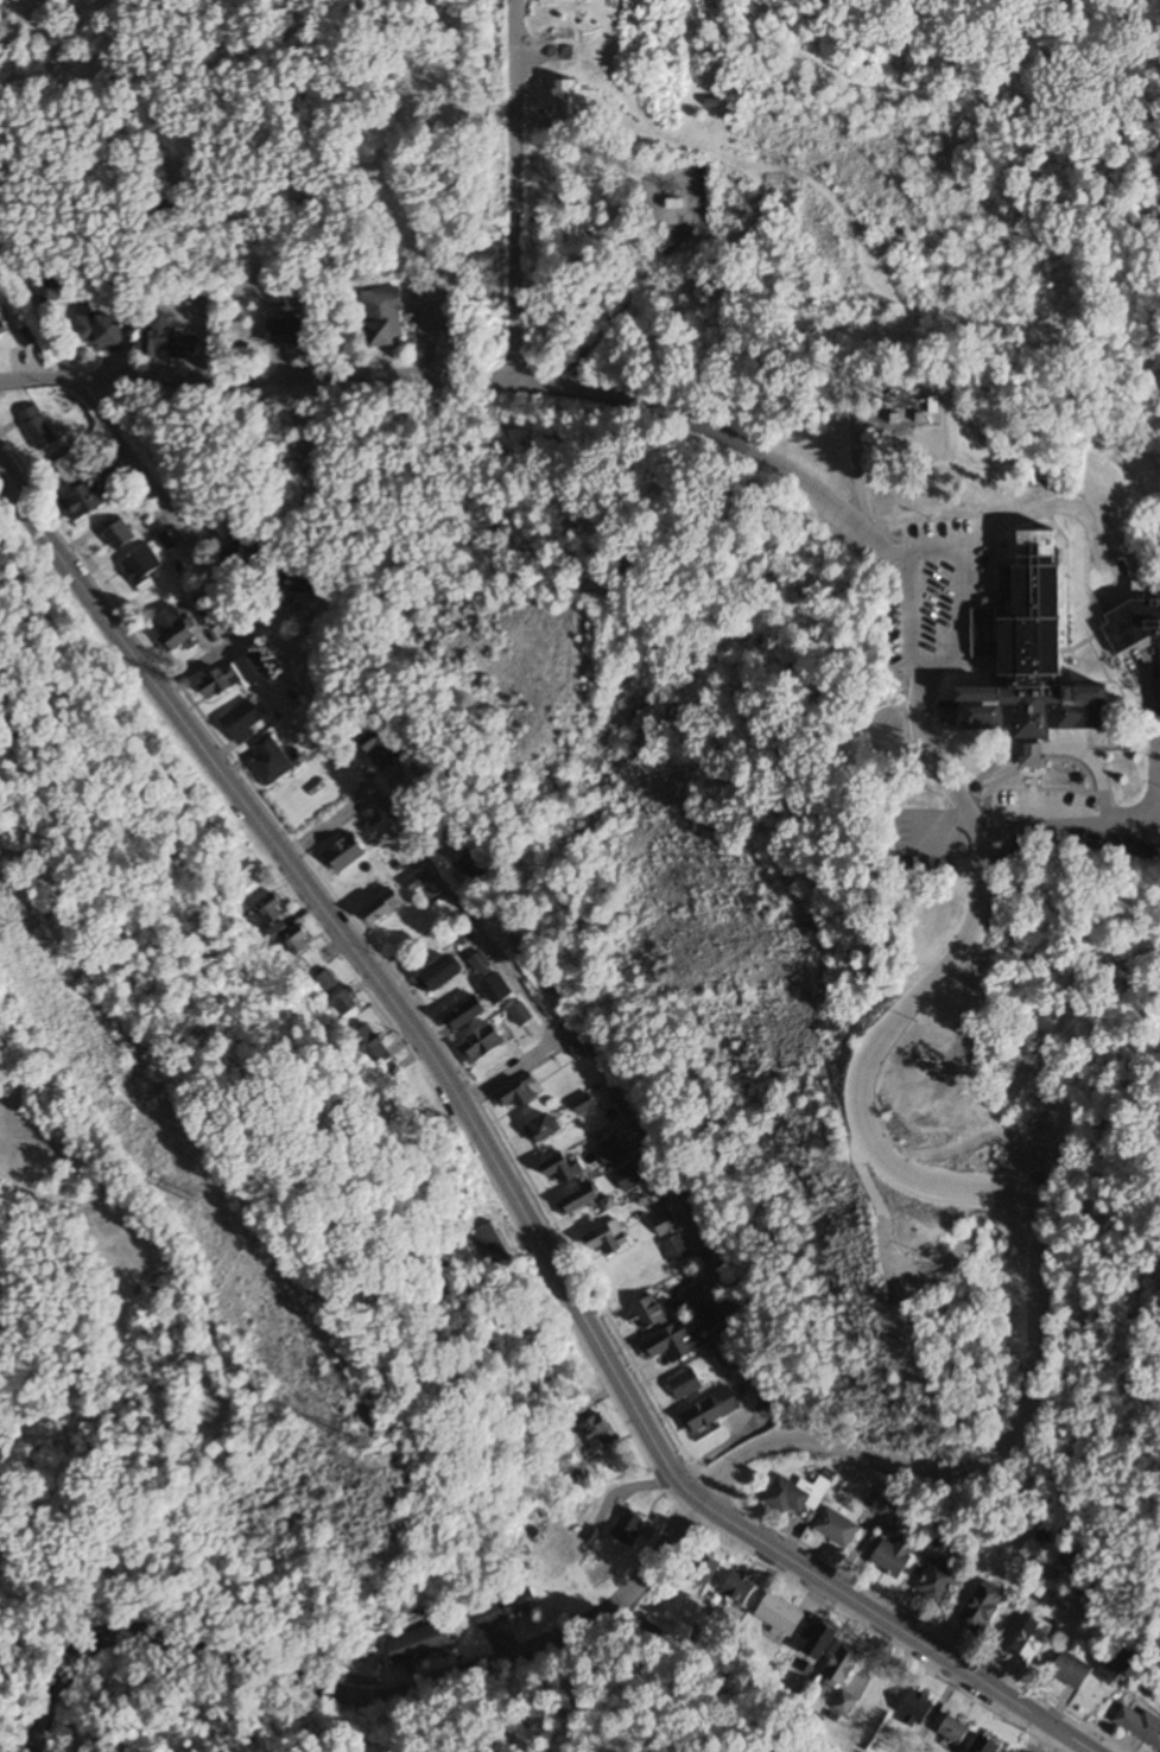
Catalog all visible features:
building: (564, 97)
road: (514, 190)
building: (46, 291)
building: (388, 301)
road: (621, 310)
building: (2, 329)
building: (97, 329)
building: (286, 331)
building: (157, 334)
building: (382, 334)
building: (188, 347)
road: (481, 379)
building: (37, 429)
road: (861, 457)
building: (72, 469)
building: (83, 502)
building: (120, 535)
road: (197, 544)
building: (246, 548)
building: (141, 565)
building: (299, 580)
building: (1135, 621)
building: (171, 628)
building: (1038, 655)
building: (235, 677)
road: (920, 705)
building: (243, 722)
building: (379, 748)
road: (1039, 749)
building: (270, 761)
road: (1137, 817)
building: (934, 851)
building: (346, 853)
building: (417, 883)
building: (239, 904)
building: (385, 908)
building: (270, 920)
power tower: (14, 922)
building: (298, 941)
building: (480, 963)
building: (440, 973)
building: (328, 980)
building: (496, 989)
building: (344, 1004)
building: (468, 1014)
building: (521, 1015)
building: (482, 1045)
building: (373, 1048)
road: (505, 1065)
road: (596, 1067)
building: (392, 1072)
building: (519, 1092)
building: (583, 1104)
building: (543, 1129)
road: (499, 1159)
building: (563, 1168)
building: (627, 1179)
power tower: (202, 1199)
building: (582, 1200)
building: (664, 1224)
road: (1039, 1224)
building: (609, 1239)
building: (492, 1249)
building: (677, 1249)
park: (113, 1264)
building: (696, 1299)
building: (648, 1315)
building: (711, 1318)
building: (673, 1344)
building: (729, 1360)
building: (685, 1385)
building: (709, 1414)
building: (598, 1433)
power tower: (378, 1448)
building: (795, 1494)
building: (877, 1499)
building: (630, 1528)
building: (837, 1528)
building: (894, 1557)
building: (704, 1568)
building: (936, 1585)
building: (740, 1589)
building: (507, 1608)
building: (983, 1610)
building: (780, 1615)
building: (823, 1640)
building: (419, 1643)
building: (1032, 1643)
building: (844, 1665)
building: (1117, 1669)
building: (1072, 1671)
road: (363, 1693)
building: (844, 1705)
building: (915, 1710)
building: (1141, 1725)
building: (956, 1732)
road: (1038, 1741)

